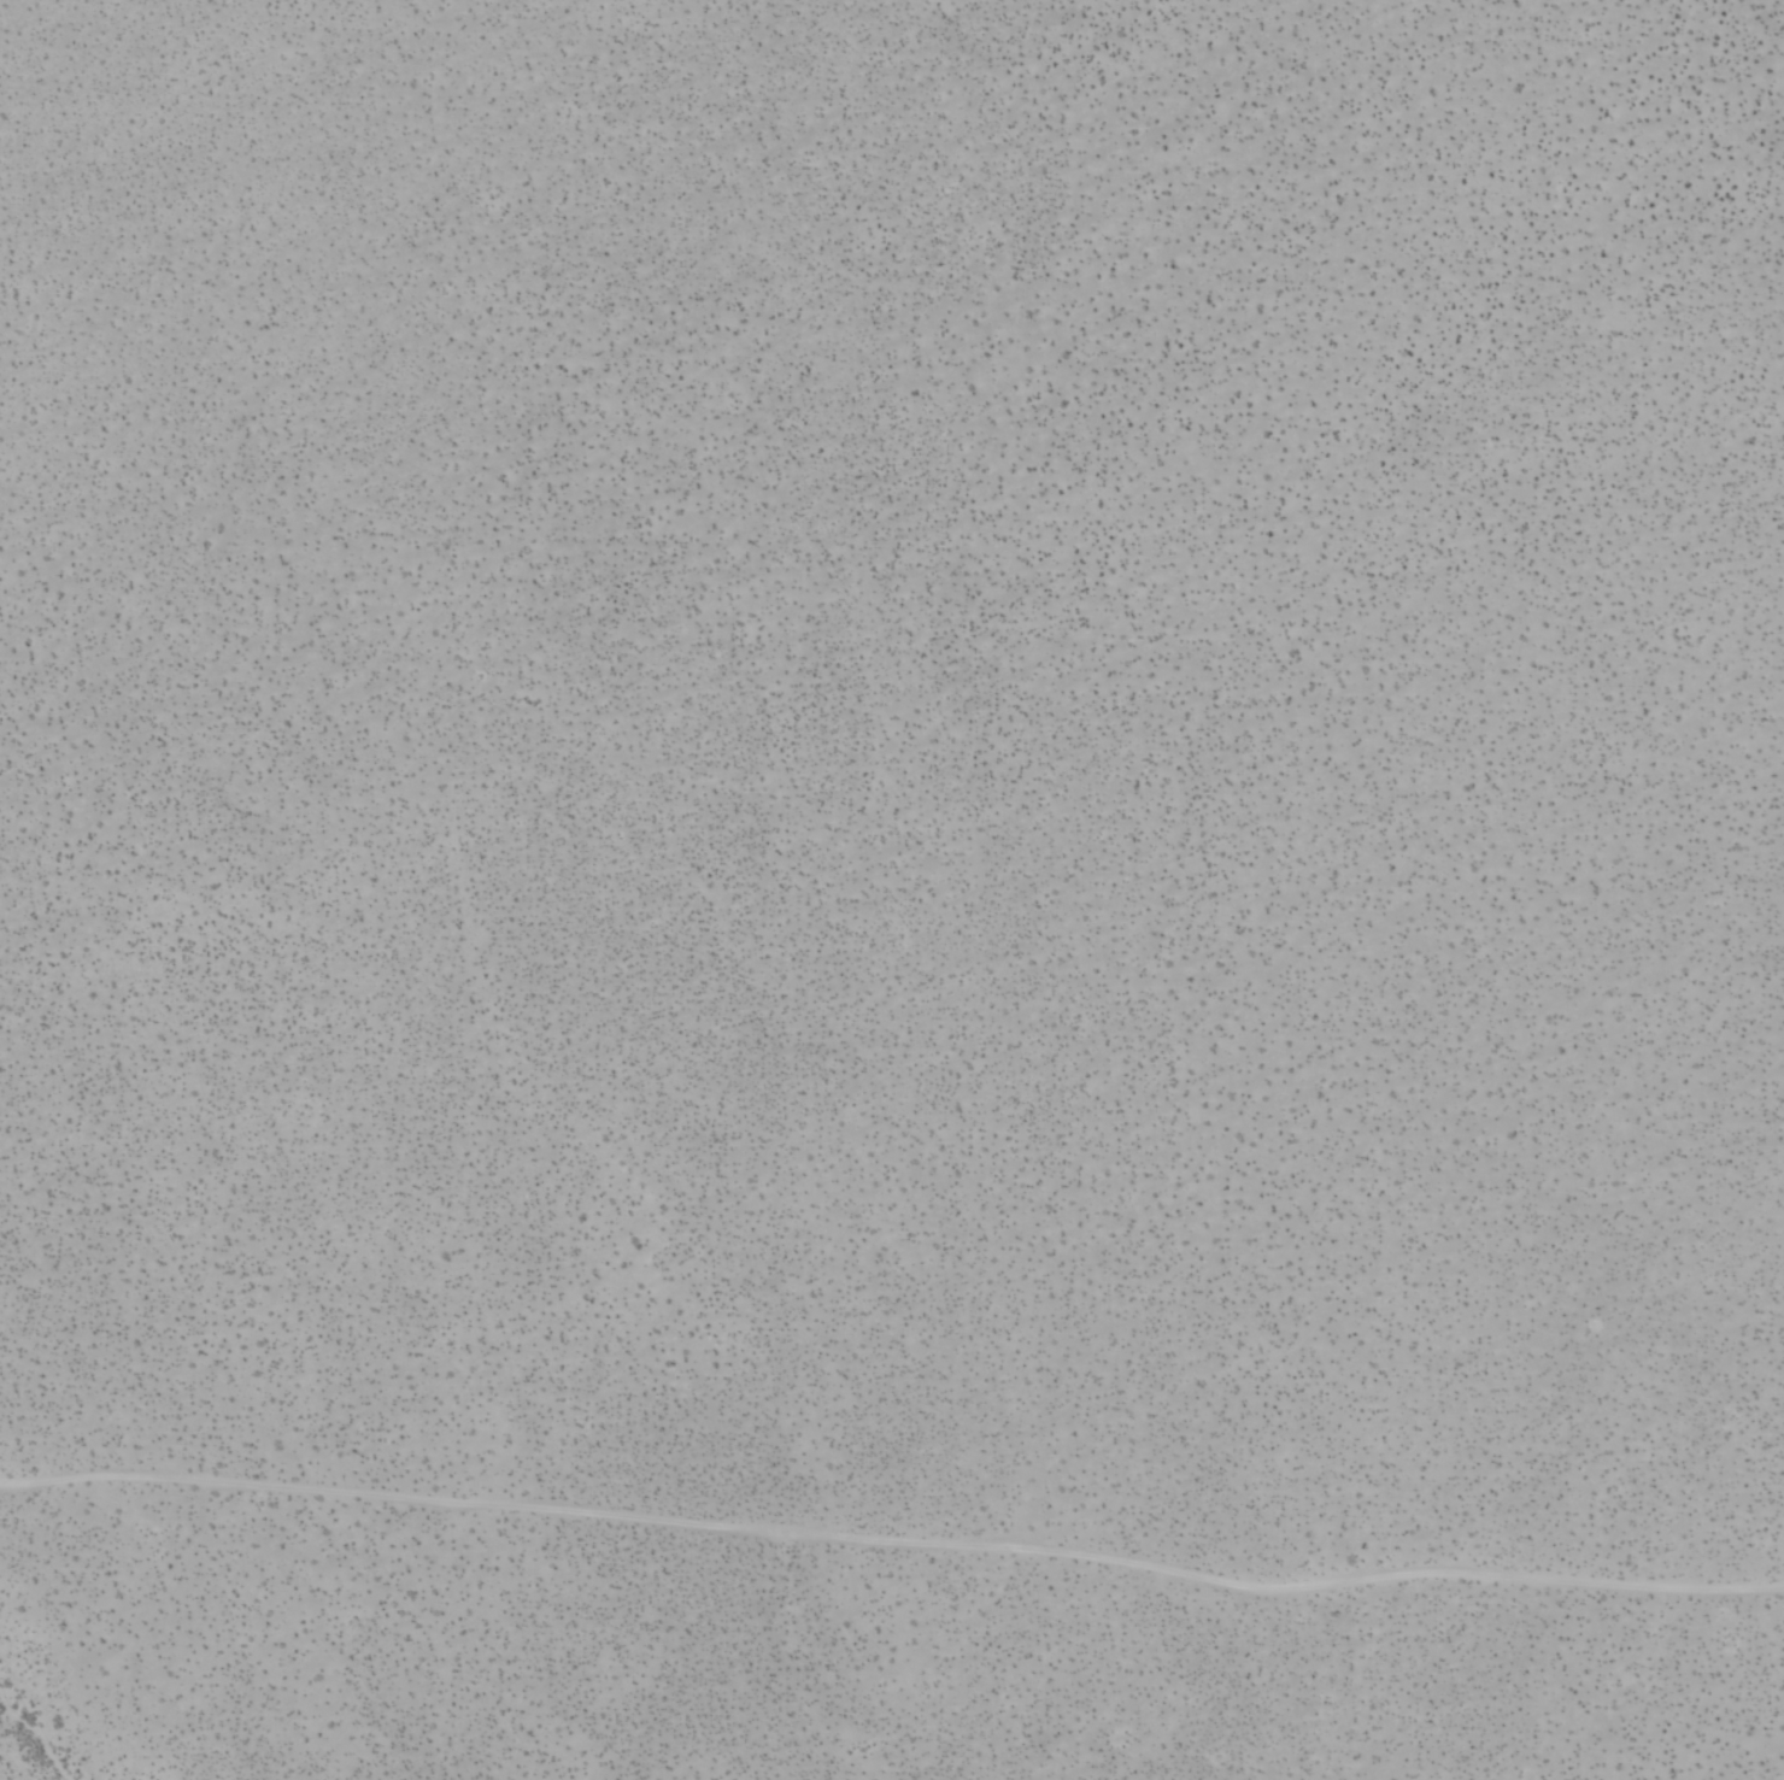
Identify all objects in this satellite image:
road: (891, 1518)

